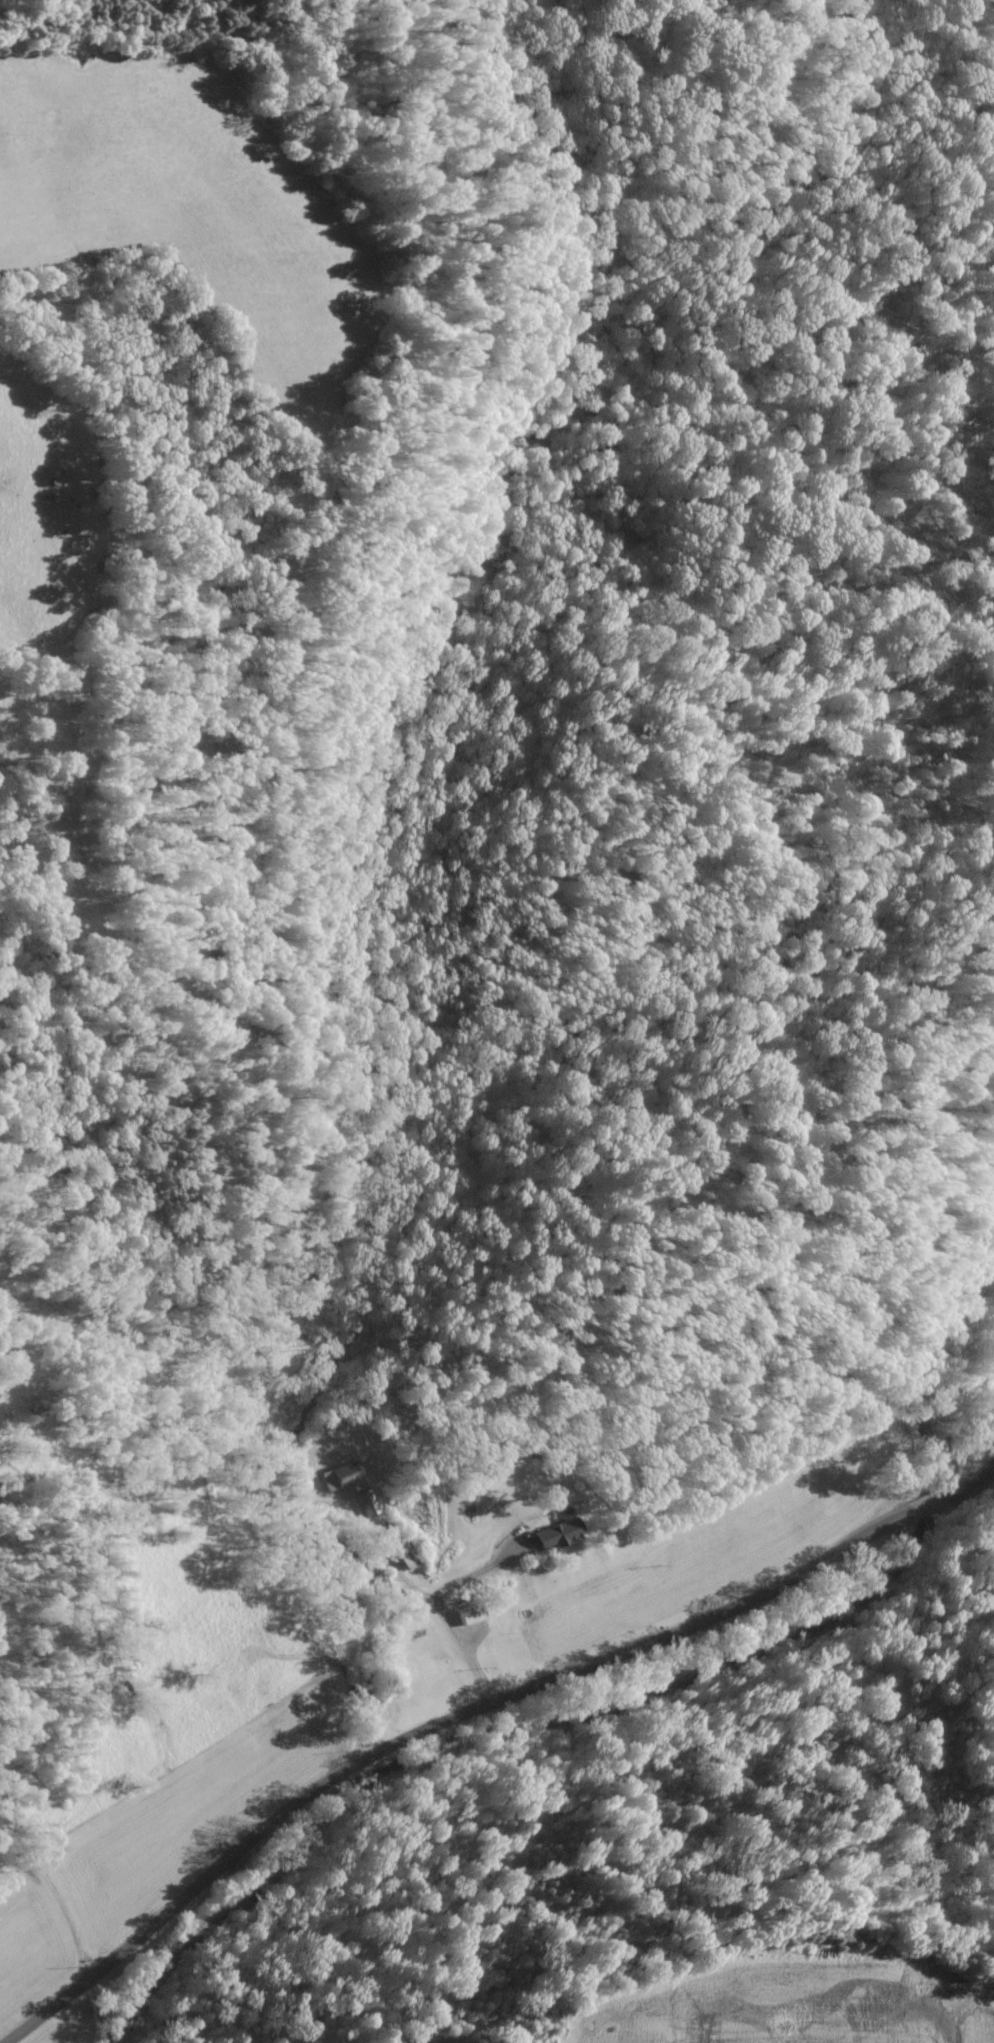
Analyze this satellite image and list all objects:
crop: (186, 212)
crop: (47, 522)
building: (341, 1476)
building: (365, 1505)
building: (557, 1535)
building: (401, 1556)
road: (475, 1580)
road: (420, 1604)
building: (470, 1615)
road: (479, 1713)

